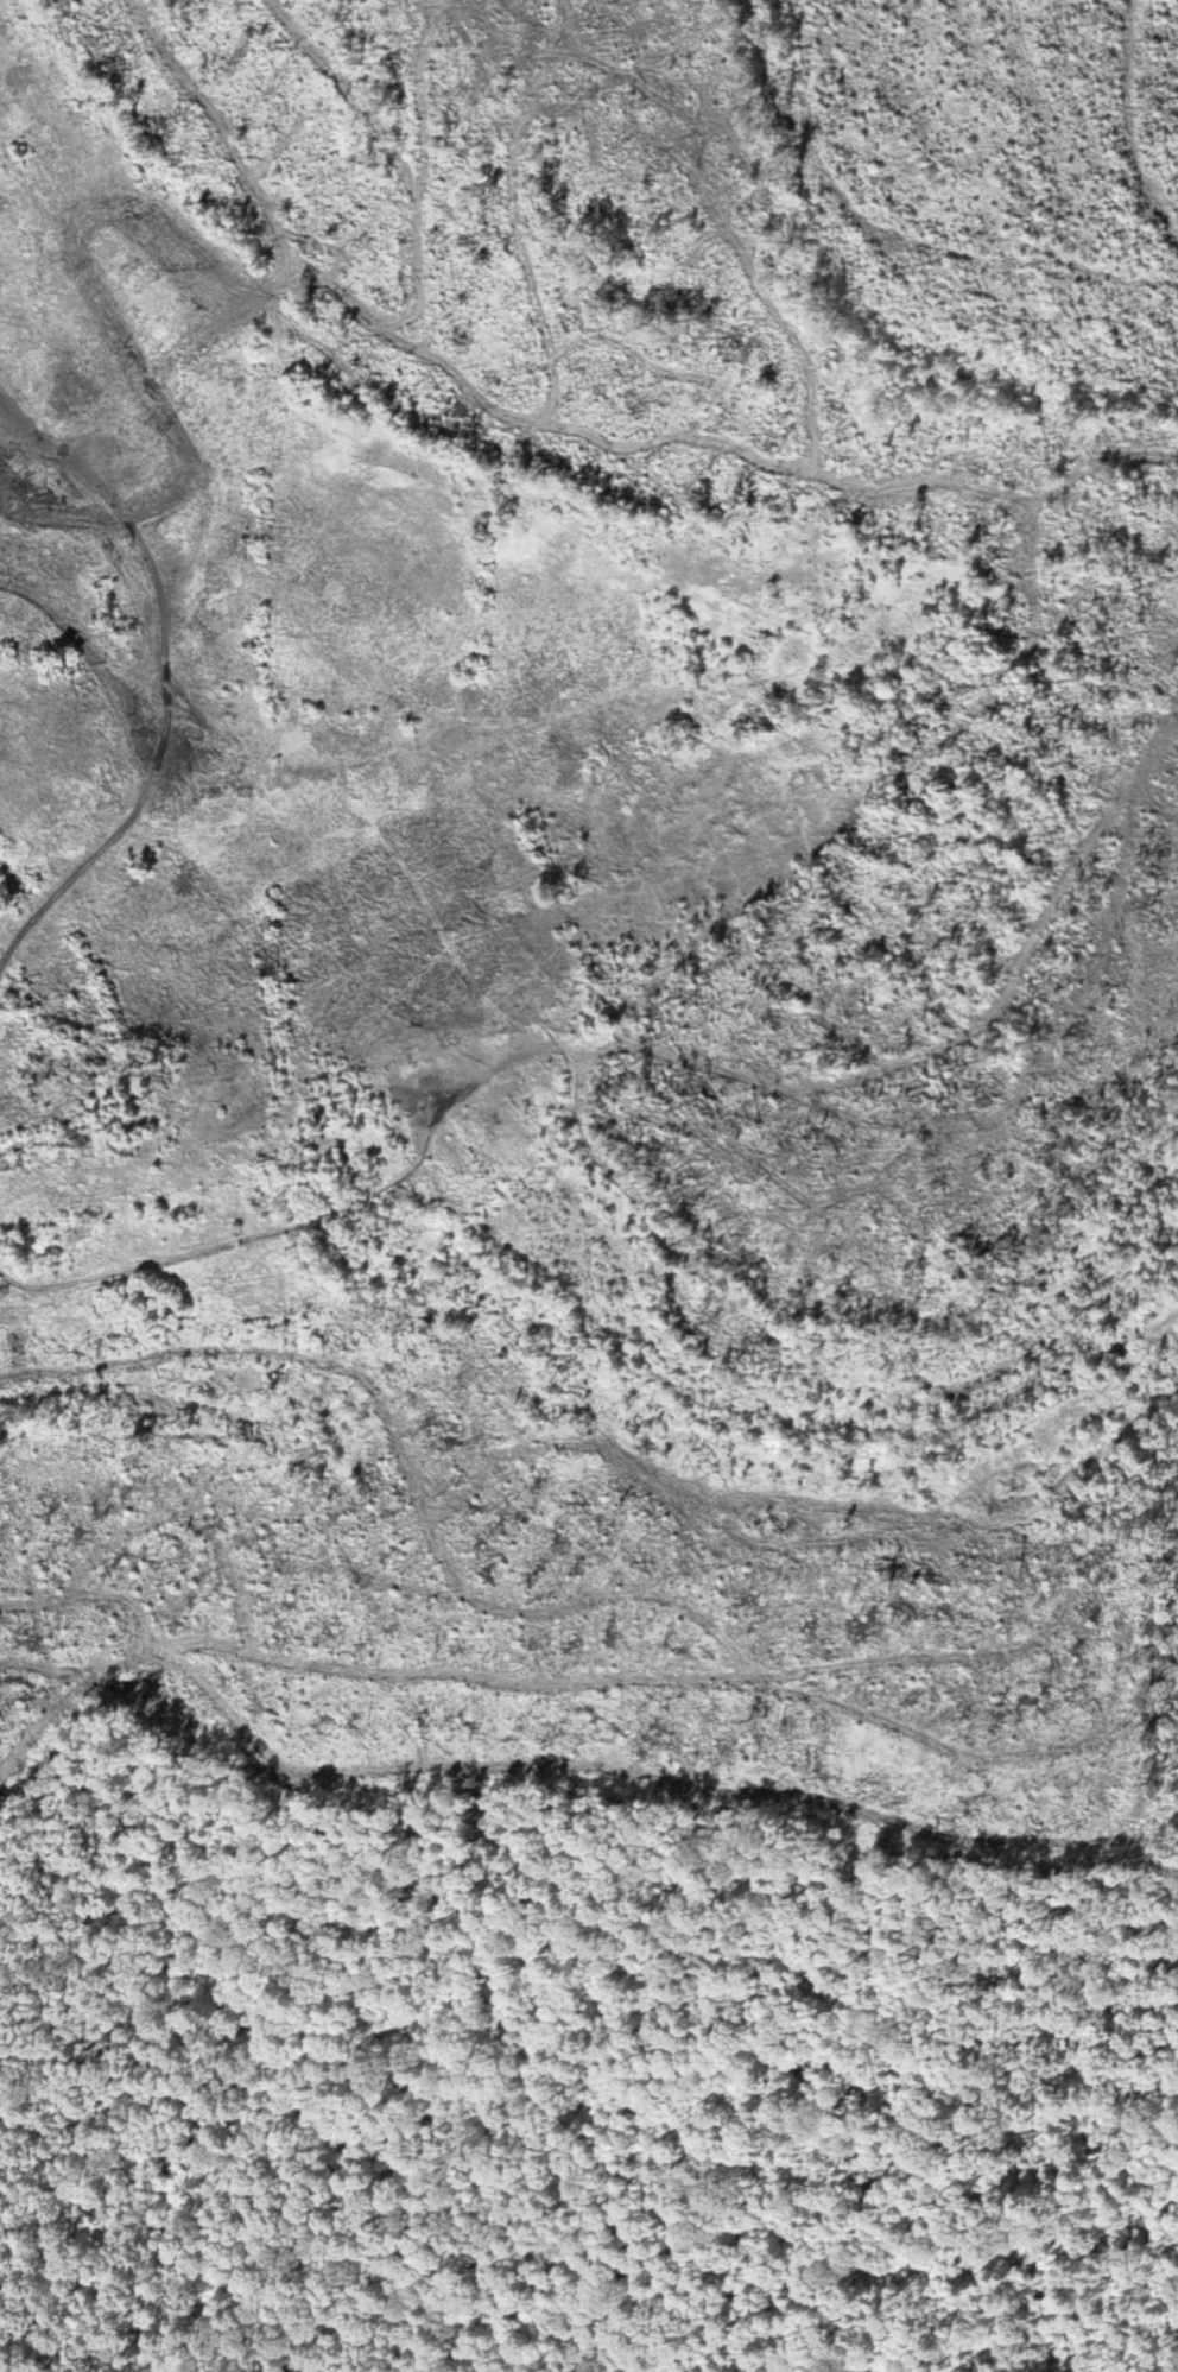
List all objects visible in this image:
road: (324, 662)
road: (597, 1362)

